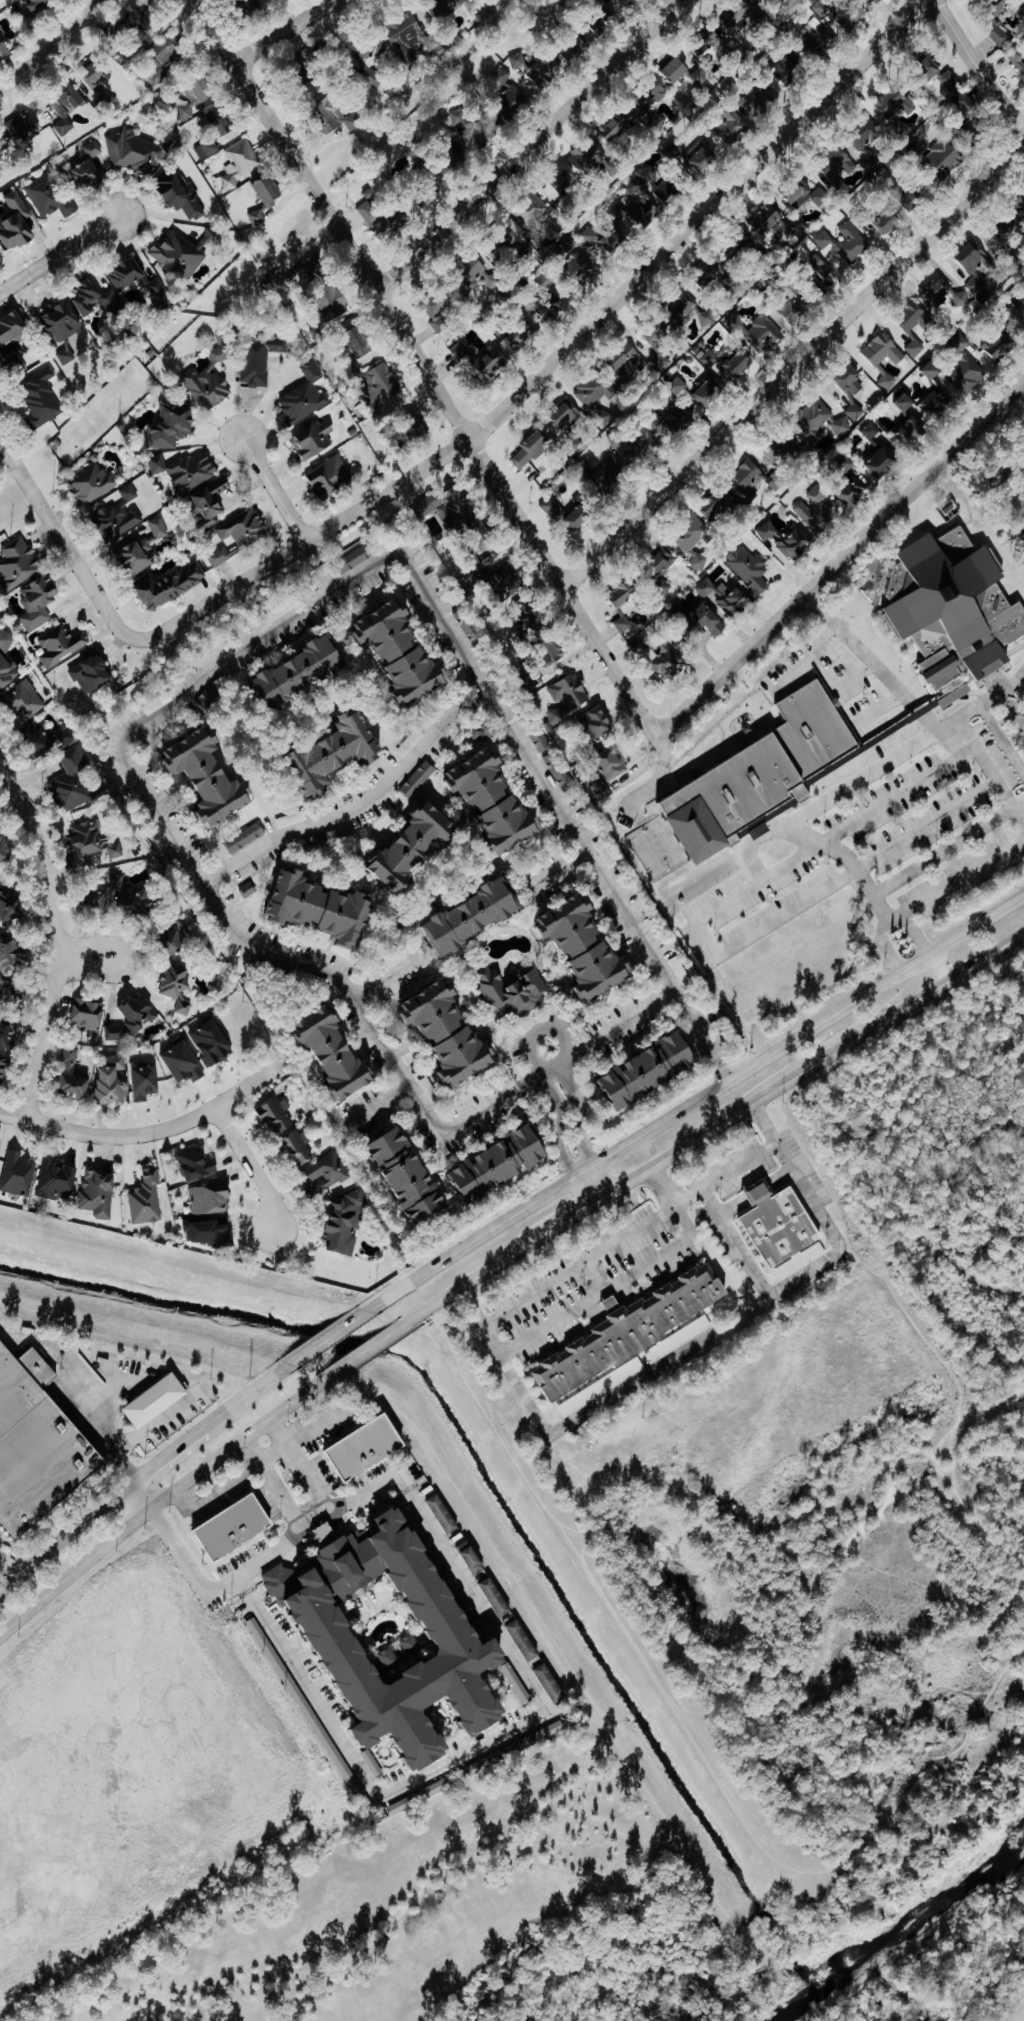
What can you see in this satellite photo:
building: (12, 1)
building: (38, 5)
building: (472, 5)
building: (254, 7)
building: (444, 8)
building: (1004, 8)
building: (838, 14)
building: (140, 21)
road: (284, 32)
building: (819, 33)
building: (999, 35)
building: (414, 43)
road: (53, 46)
building: (730, 48)
building: (3, 50)
building: (168, 51)
road: (975, 65)
building: (539, 69)
building: (678, 70)
building: (95, 75)
building: (700, 77)
building: (950, 81)
building: (505, 90)
building: (731, 91)
building: (195, 98)
building: (896, 103)
building: (967, 103)
building: (67, 109)
building: (338, 116)
building: (459, 117)
building: (223, 121)
building: (733, 126)
building: (615, 127)
building: (25, 129)
building: (4, 143)
road: (528, 145)
building: (871, 146)
building: (207, 149)
building: (133, 151)
building: (702, 156)
building: (947, 156)
building: (458, 157)
building: (594, 161)
building: (839, 163)
building: (238, 164)
building: (2, 174)
building: (87, 176)
building: (567, 182)
building: (659, 182)
building: (269, 190)
building: (180, 194)
building: (813, 195)
building: (51, 196)
building: (532, 211)
building: (258, 218)
building: (889, 220)
building: (774, 222)
building: (16, 223)
building: (391, 226)
building: (845, 243)
building: (734, 248)
road: (61, 253)
building: (184, 253)
building: (575, 263)
building: (822, 268)
building: (315, 270)
building: (978, 270)
building: (485, 274)
building: (128, 275)
building: (545, 279)
building: (159, 294)
building: (936, 295)
building: (98, 299)
building: (962, 299)
building: (335, 303)
building: (793, 303)
building: (549, 312)
building: (689, 313)
building: (439, 316)
building: (64, 321)
building: (13, 330)
building: (914, 330)
building: (761, 334)
building: (318, 335)
building: (655, 337)
building: (360, 342)
building: (963, 343)
building: (1001, 346)
building: (884, 351)
building: (66, 354)
road: (558, 355)
building: (261, 359)
building: (482, 359)
building: (628, 363)
road: (793, 365)
road: (423, 366)
building: (931, 374)
building: (969, 374)
building: (210, 382)
building: (888, 382)
building: (382, 383)
building: (676, 387)
building: (594, 390)
building: (852, 392)
building: (950, 393)
building: (305, 397)
building: (42, 398)
building: (906, 403)
building: (936, 405)
building: (566, 415)
building: (602, 418)
building: (679, 420)
building: (823, 422)
building: (172, 427)
building: (915, 429)
building: (871, 431)
building: (314, 441)
building: (636, 445)
building: (531, 450)
building: (783, 454)
building: (845, 465)
building: (882, 465)
building: (187, 470)
building: (611, 471)
building: (333, 477)
building: (991, 477)
building: (757, 480)
building: (94, 484)
road: (274, 489)
building: (211, 502)
building: (452, 506)
building: (718, 506)
building: (552, 507)
building: (815, 511)
building: (581, 513)
building: (118, 516)
building: (159, 528)
building: (483, 529)
building: (1023, 533)
building: (240, 535)
building: (693, 541)
road: (64, 544)
building: (138, 557)
building: (358, 558)
building: (662, 559)
road: (839, 560)
building: (19, 564)
building: (750, 569)
building: (500, 580)
building: (173, 586)
building: (629, 595)
building: (725, 597)
building: (38, 600)
building: (949, 606)
building: (709, 620)
building: (624, 624)
building: (470, 625)
building: (6, 640)
road: (251, 640)
building: (62, 645)
road: (861, 650)
building: (405, 651)
building: (549, 655)
building: (659, 657)
road: (806, 661)
building: (304, 672)
building: (7, 673)
road: (853, 673)
building: (92, 674)
road: (1023, 677)
building: (571, 692)
building: (213, 696)
building: (25, 701)
road: (880, 704)
road: (919, 711)
road: (989, 717)
road: (931, 721)
building: (599, 722)
building: (47, 739)
building: (339, 751)
building: (613, 763)
building: (560, 771)
building: (212, 775)
building: (754, 776)
building: (75, 780)
building: (419, 780)
road: (910, 786)
road: (998, 787)
building: (603, 789)
building: (498, 800)
road: (825, 800)
road: (1017, 803)
road: (351, 808)
building: (292, 819)
road: (926, 824)
building: (762, 830)
building: (246, 838)
building: (323, 841)
building: (106, 846)
building: (417, 846)
building: (5, 849)
road: (941, 849)
road: (557, 869)
road: (759, 870)
road: (956, 878)
building: (248, 890)
road: (737, 896)
building: (106, 901)
building: (140, 901)
building: (14, 904)
building: (324, 907)
road: (790, 909)
building: (476, 916)
road: (913, 931)
road: (54, 939)
building: (176, 941)
road: (885, 946)
building: (590, 947)
building: (13, 955)
road: (84, 958)
road: (979, 959)
building: (680, 970)
road: (926, 976)
building: (178, 980)
road: (384, 980)
building: (513, 992)
building: (184, 1008)
road: (901, 1008)
building: (141, 1013)
building: (88, 1014)
road: (631, 1018)
road: (536, 1029)
building: (115, 1033)
building: (453, 1033)
building: (7, 1035)
building: (214, 1042)
building: (338, 1052)
road: (573, 1056)
building: (185, 1063)
building: (3, 1069)
building: (652, 1071)
road: (724, 1073)
building: (73, 1076)
road: (536, 1079)
building: (146, 1082)
building: (114, 1083)
road: (383, 1101)
road: (694, 1103)
road: (578, 1111)
road: (734, 1111)
building: (279, 1116)
road: (559, 1122)
road: (147, 1133)
building: (300, 1146)
building: (504, 1162)
road: (745, 1162)
building: (198, 1163)
road: (250, 1166)
road: (582, 1167)
building: (327, 1173)
building: (19, 1174)
building: (412, 1177)
park: (938, 1178)
building: (58, 1181)
road: (592, 1183)
building: (99, 1194)
building: (211, 1199)
building: (147, 1200)
road: (571, 1213)
building: (348, 1222)
building: (785, 1229)
road: (932, 1245)
road: (664, 1256)
road: (578, 1268)
road: (806, 1275)
road: (474, 1277)
road: (594, 1280)
road: (539, 1336)
road: (327, 1337)
building: (634, 1337)
road: (368, 1350)
road: (247, 1393)
building: (157, 1401)
road: (989, 1407)
road: (589, 1411)
road: (489, 1421)
road: (158, 1423)
building: (34, 1444)
building: (369, 1447)
road: (274, 1453)
road: (170, 1455)
road: (301, 1465)
road: (274, 1483)
road: (671, 1487)
road: (138, 1491)
road: (216, 1493)
road: (160, 1500)
building: (444, 1514)
road: (970, 1519)
building: (237, 1527)
road: (66, 1538)
building: (473, 1557)
road: (7, 1571)
road: (921, 1573)
building: (283, 1582)
building: (496, 1597)
building: (403, 1640)
building: (523, 1641)
road: (935, 1668)
building: (551, 1683)
building: (519, 1687)
road: (976, 1707)
road: (522, 1723)
road: (601, 1724)
building: (554, 1729)
building: (374, 1764)
river: (904, 1926)
road: (211, 1990)

